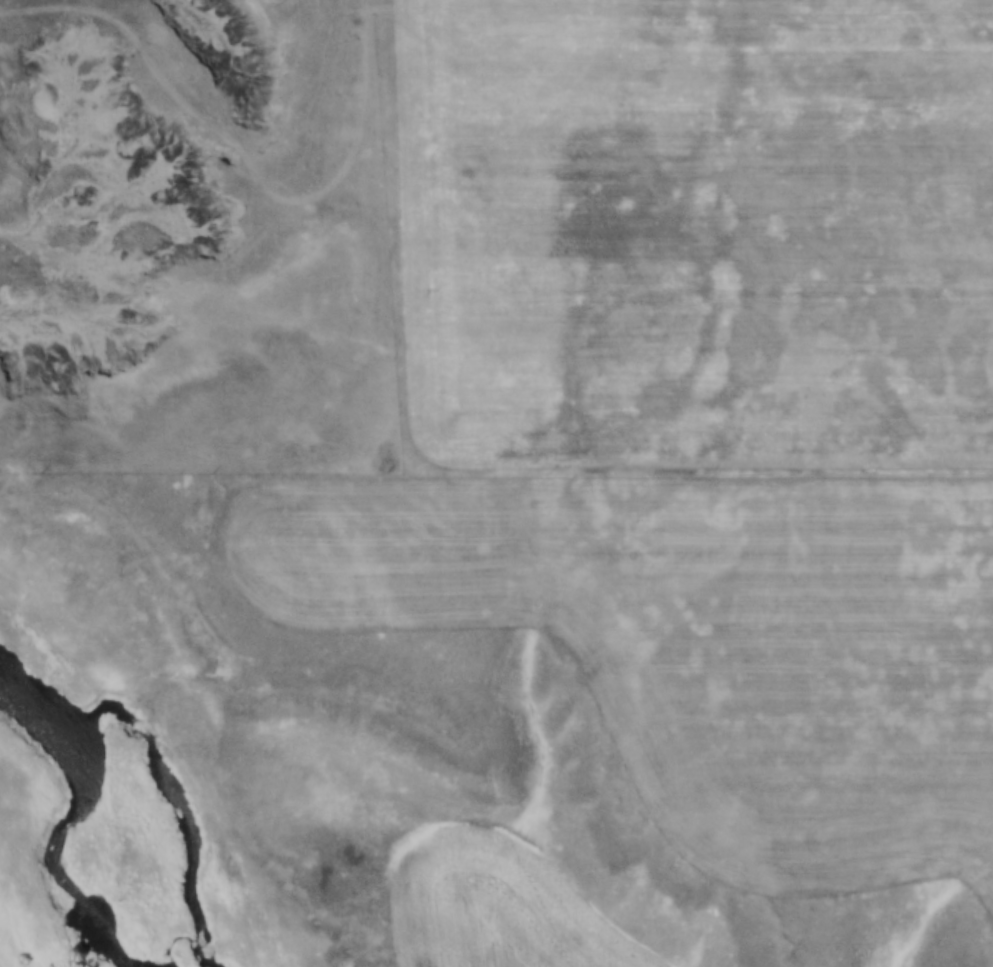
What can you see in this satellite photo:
river: (58, 821)

